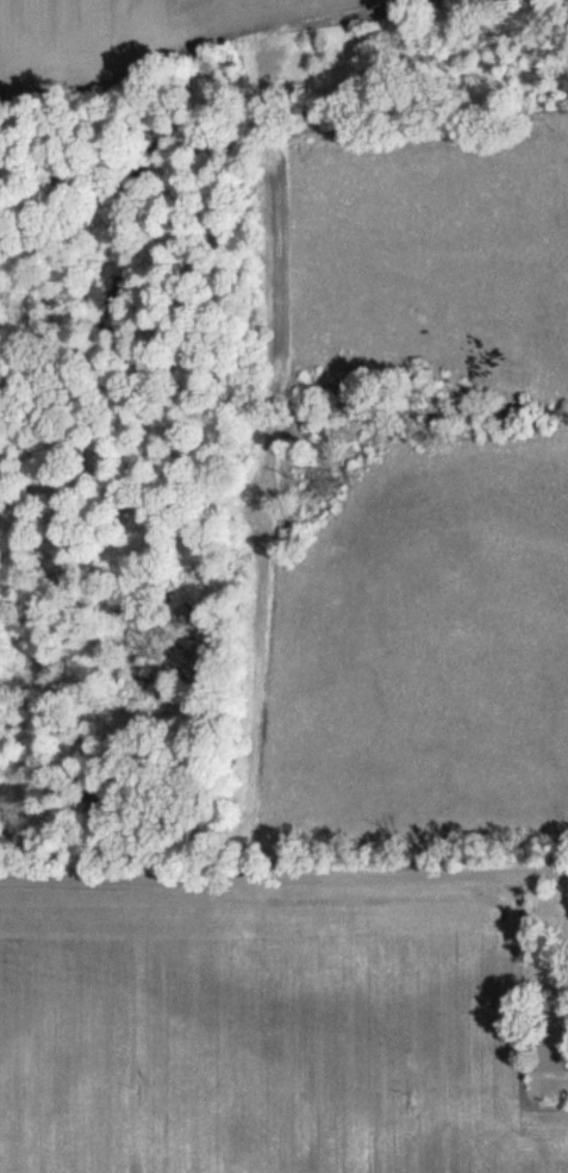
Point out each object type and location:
road: (283, 871)
building: (549, 1050)
building: (553, 1084)

